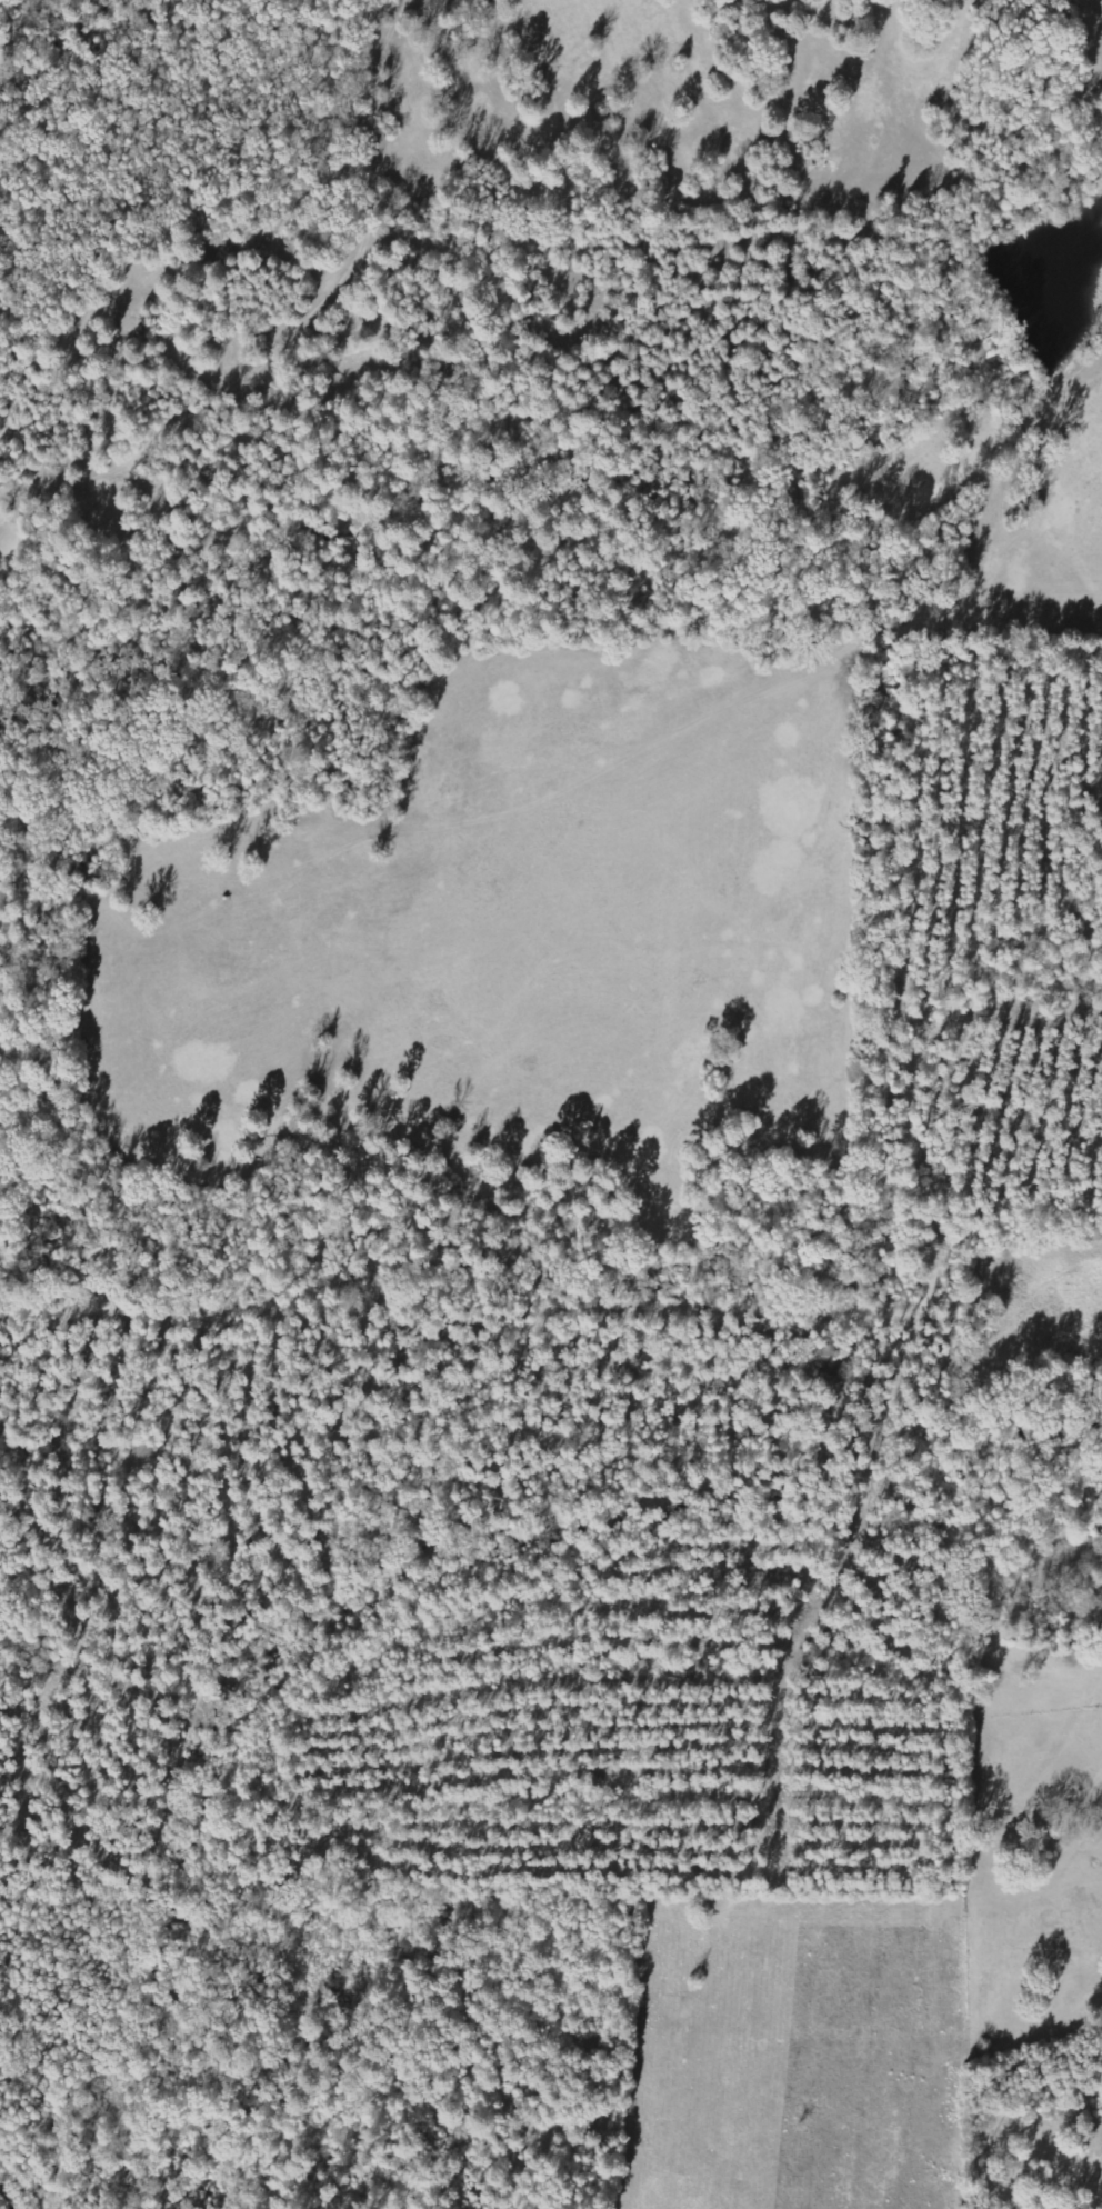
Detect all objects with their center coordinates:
road: (1088, 127)

